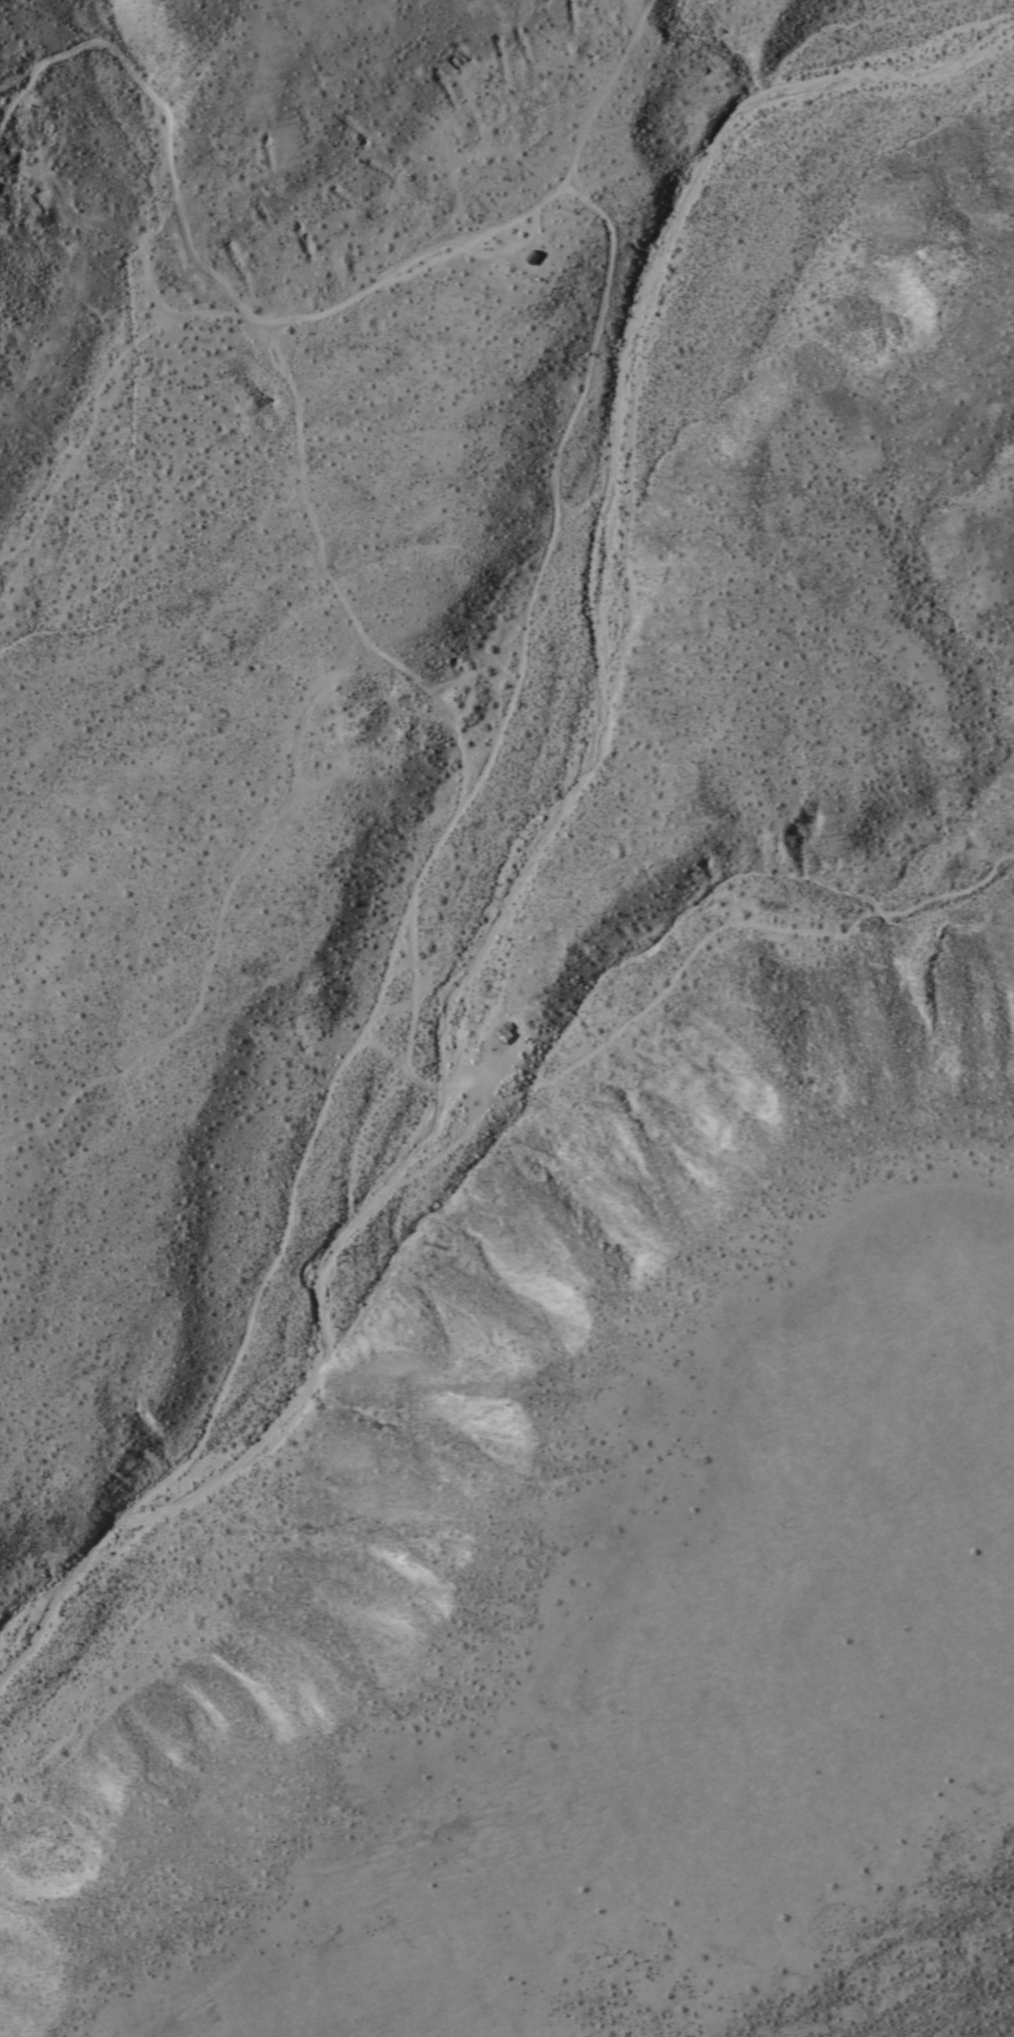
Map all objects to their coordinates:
road: (600, 89)
road: (505, 248)
building: (530, 256)
road: (214, 275)
road: (574, 506)
road: (388, 955)
road: (684, 958)
road: (395, 967)
road: (390, 1008)
road: (408, 1024)
building: (501, 1034)
road: (382, 1052)
road: (483, 1077)
road: (116, 1644)

